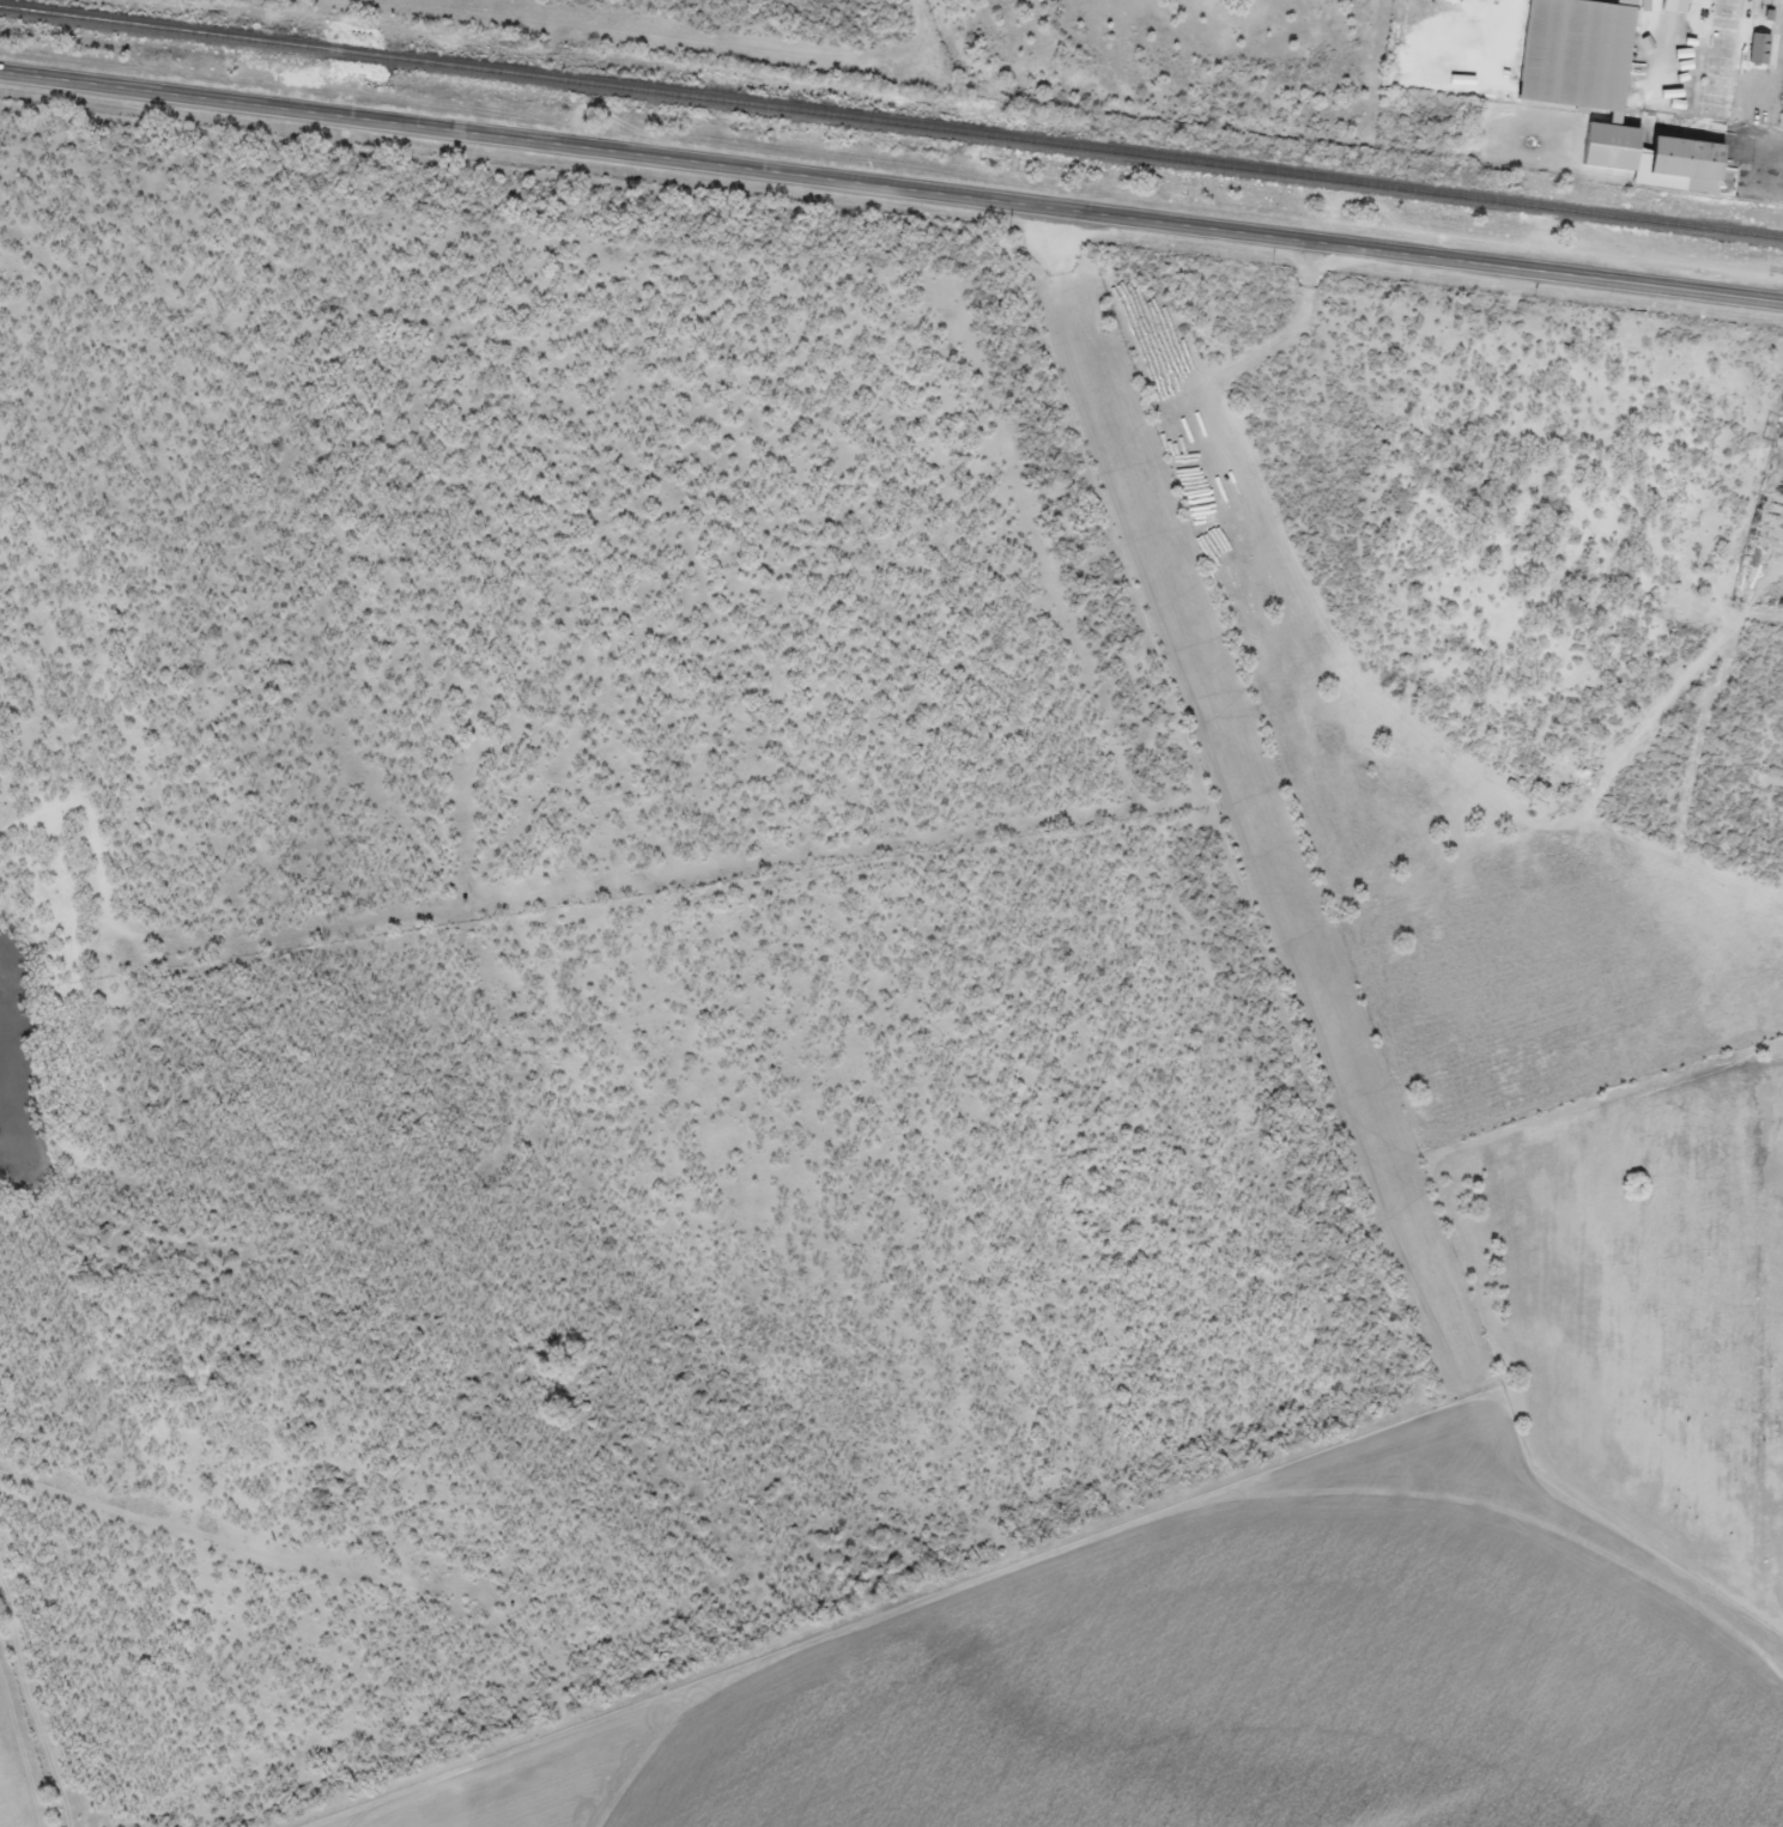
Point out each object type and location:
building: (1760, 49)
building: (1585, 71)
road: (1776, 115)
railway: (891, 123)
building: (1690, 159)
road: (891, 184)

